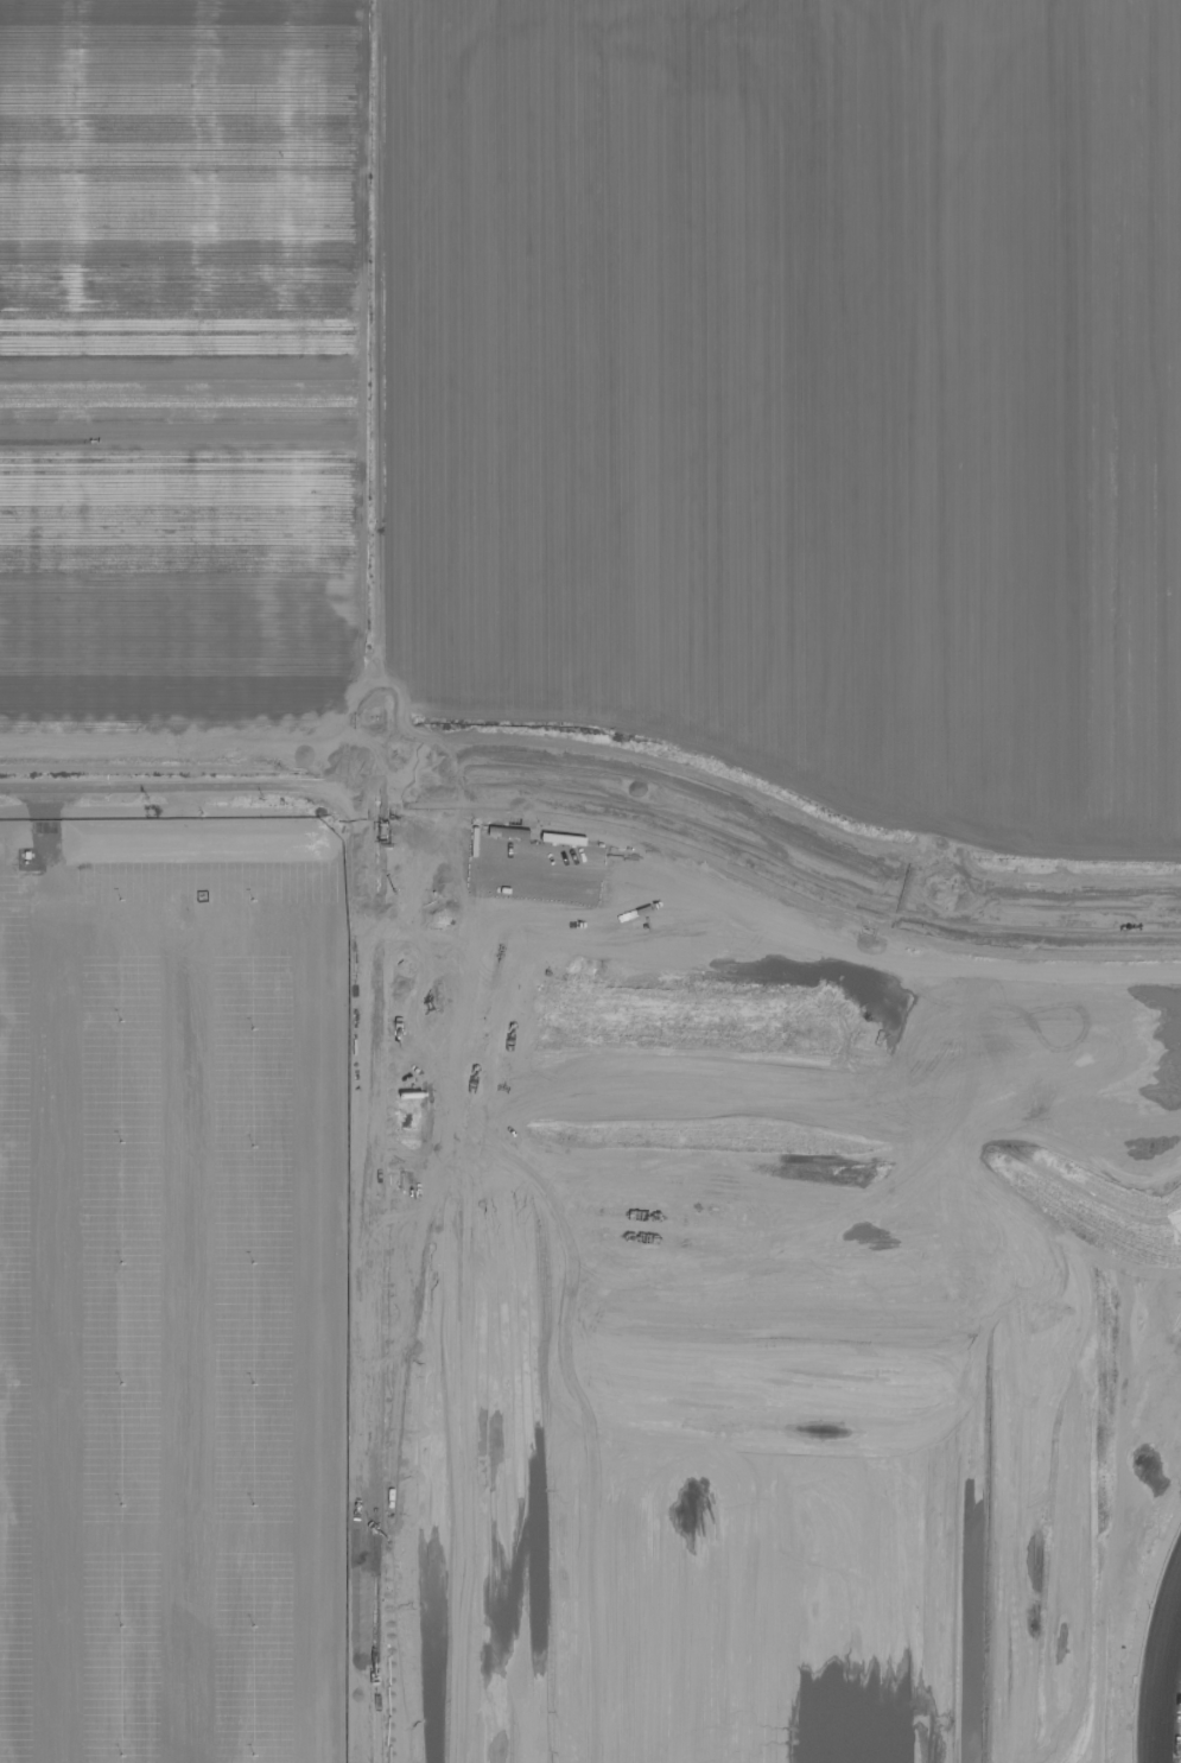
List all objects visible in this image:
crop: (186, 383)
crop: (777, 464)
road: (183, 782)
road: (120, 825)
road: (47, 832)
road: (774, 846)
road: (176, 858)
building: (240, 869)
building: (305, 871)
building: (39, 875)
road: (93, 875)
building: (204, 877)
building: (141, 895)
building: (203, 905)
building: (80, 940)
building: (227, 941)
building: (123, 958)
building: (89, 971)
building: (274, 971)
building: (616, 984)
building: (173, 1020)
building: (89, 1033)
building: (616, 1051)
building: (766, 1181)
building: (179, 1187)
road: (363, 1239)
building: (174, 1305)
building: (261, 1350)
building: (263, 1434)
road: (1160, 1673)

